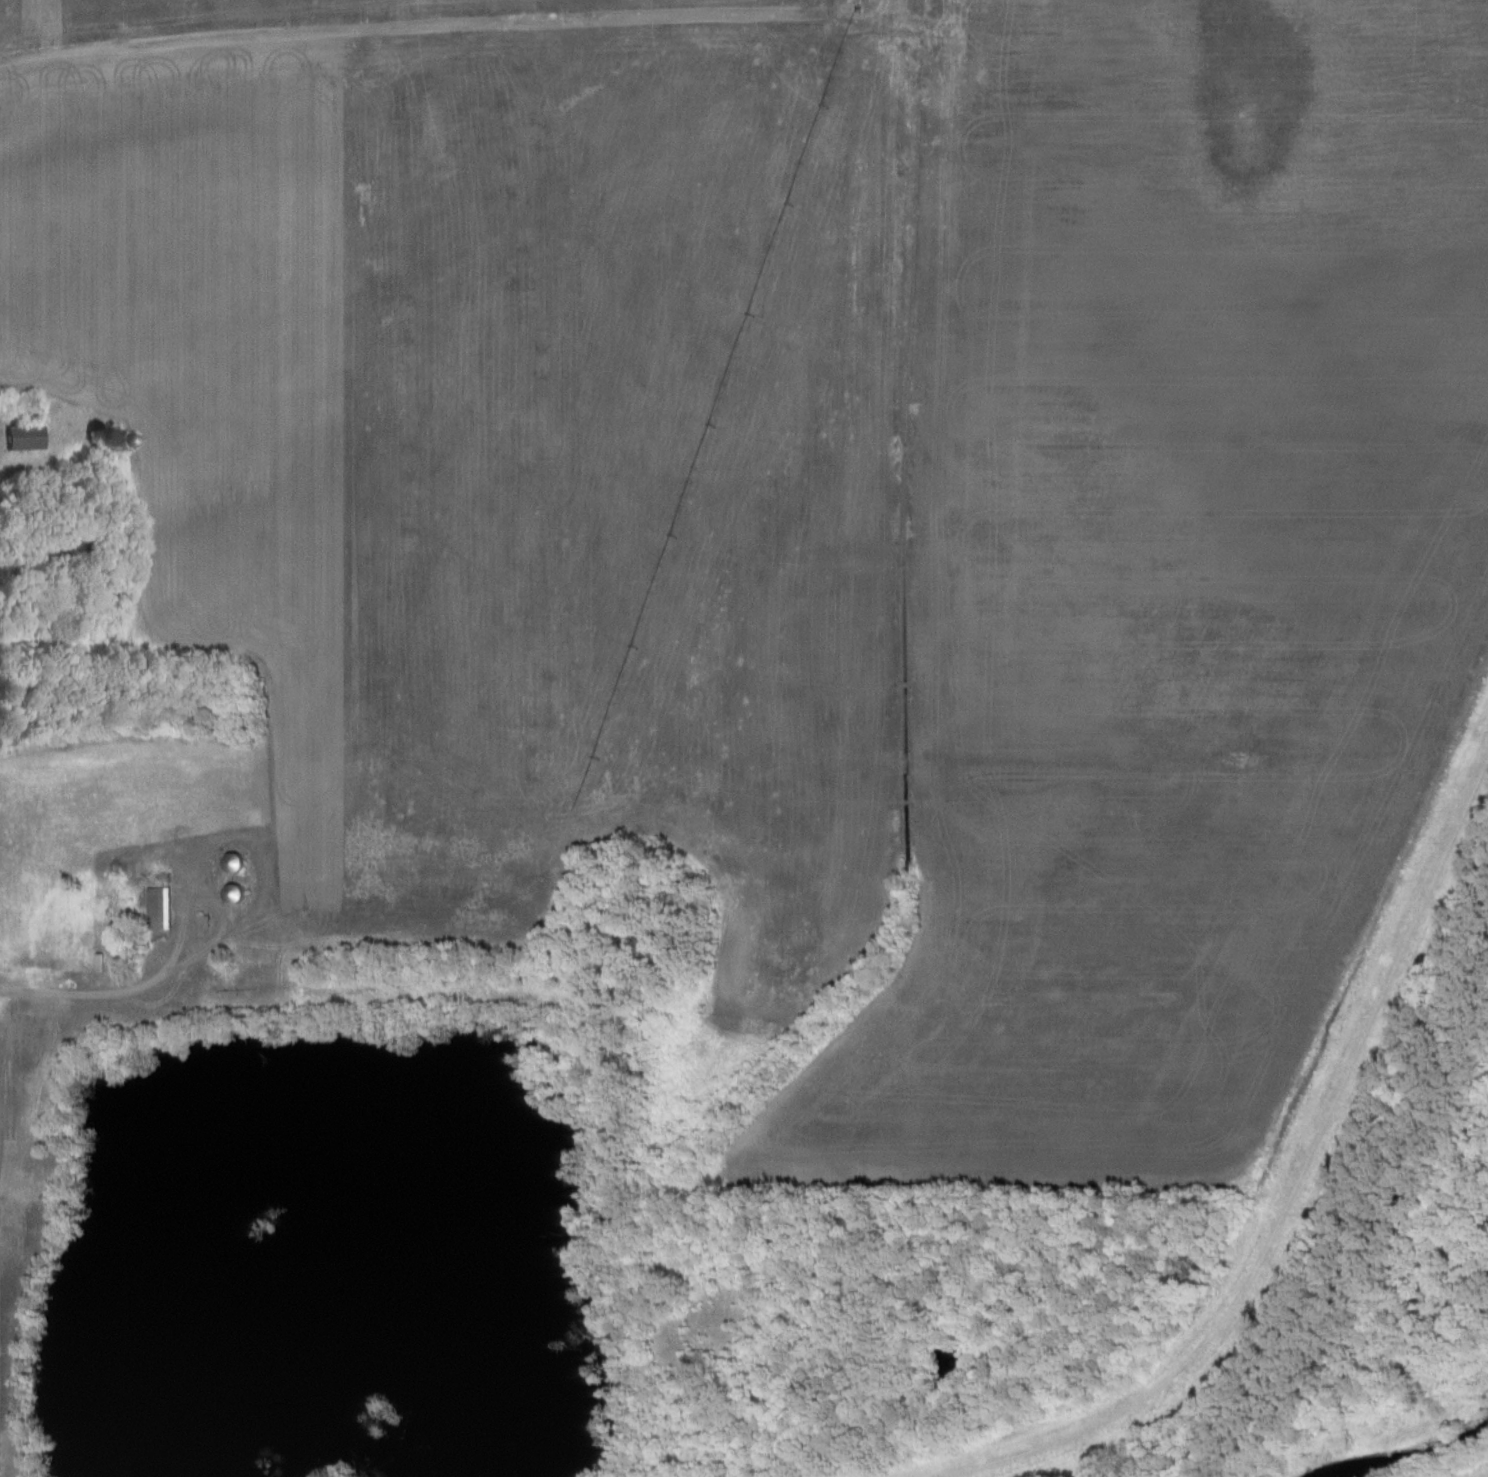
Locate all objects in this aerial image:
road: (427, 24)
building: (108, 436)
silo: (108, 436)
building: (26, 439)
road: (263, 844)
building: (238, 862)
silo: (238, 862)
building: (238, 893)
silo: (238, 893)
building: (161, 907)
building: (205, 922)
road: (82, 993)
river: (1403, 1454)

